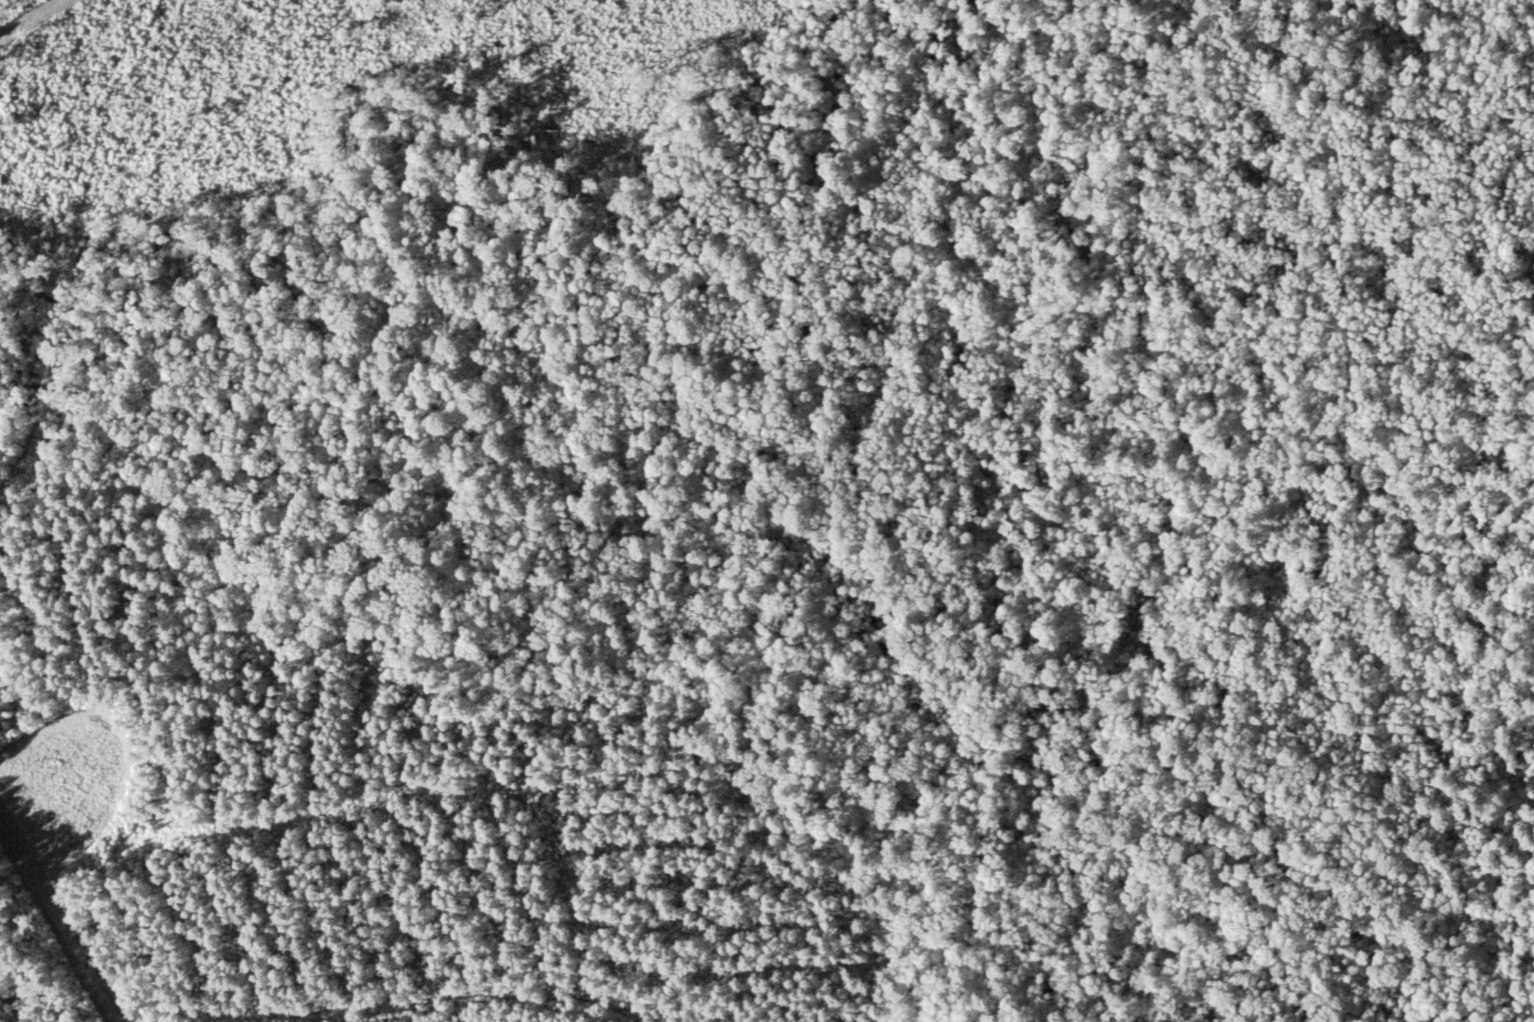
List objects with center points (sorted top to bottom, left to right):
road: (53, 41)
road: (43, 897)
road: (104, 993)

